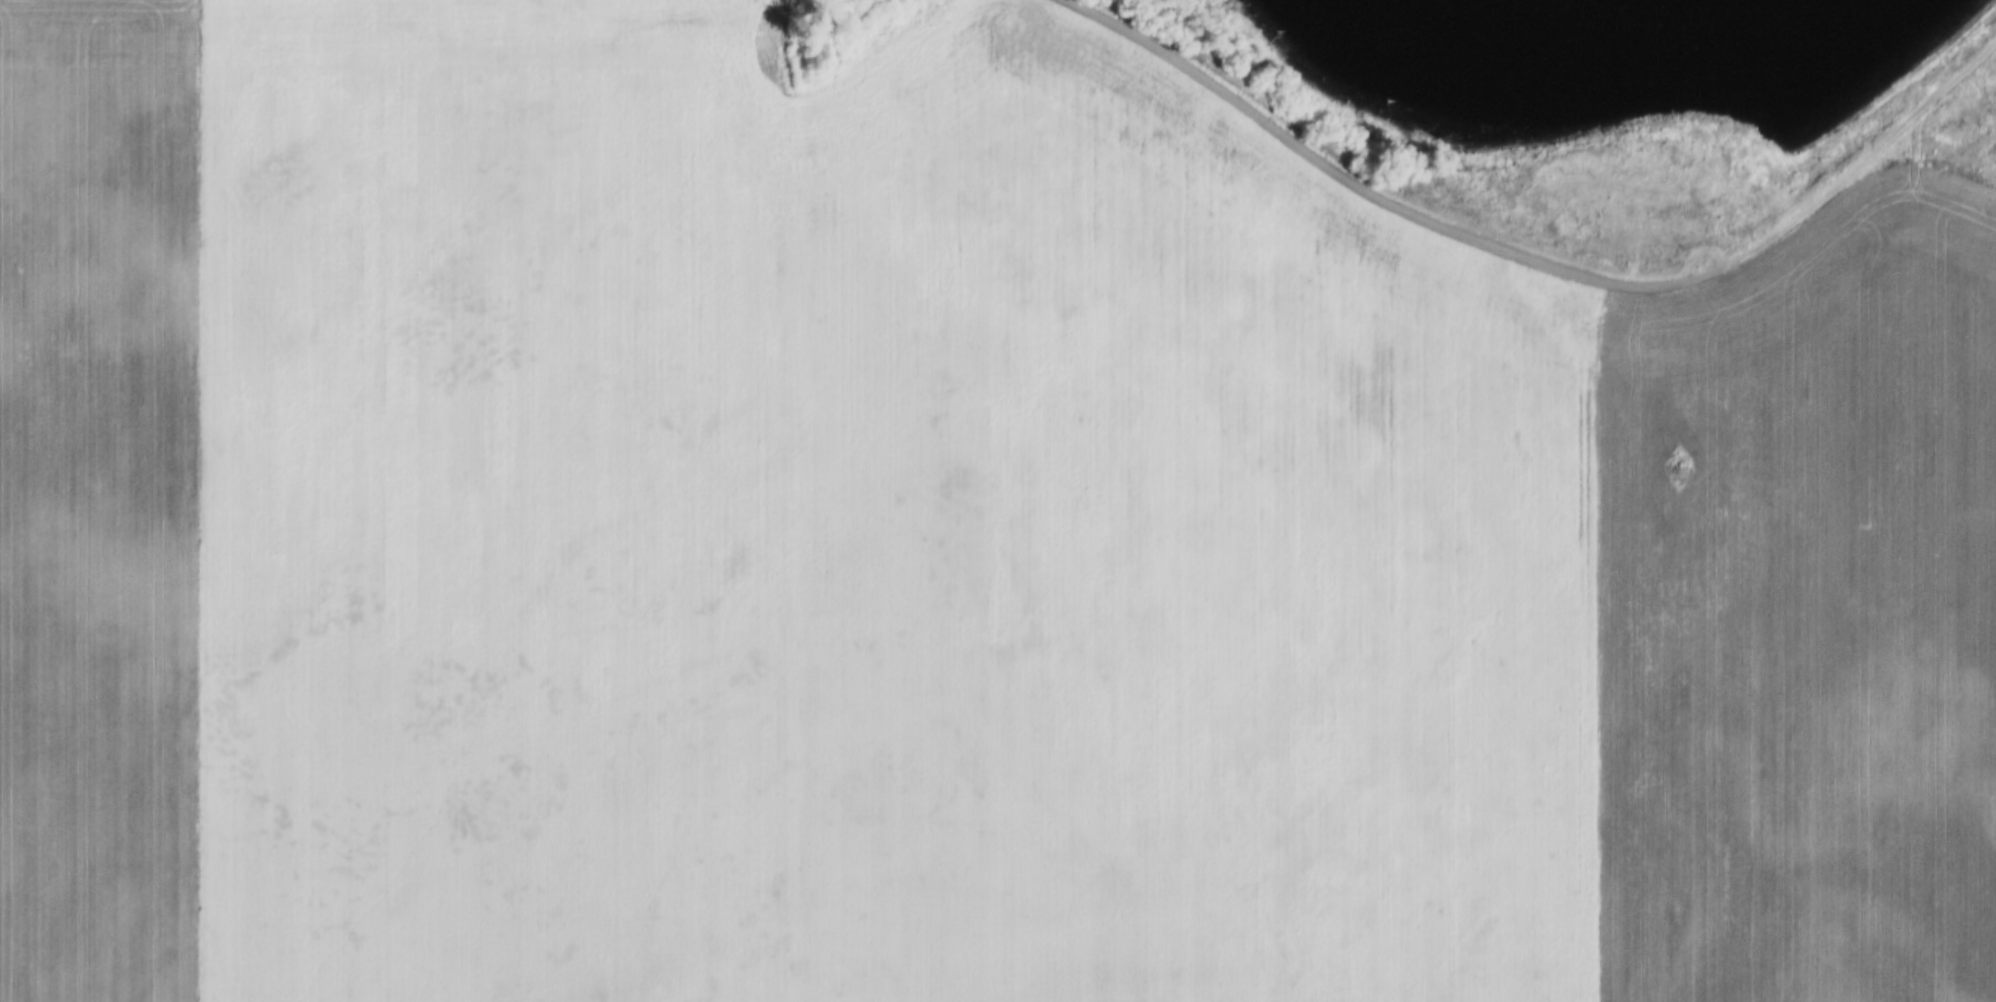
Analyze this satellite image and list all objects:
road: (1555, 265)

